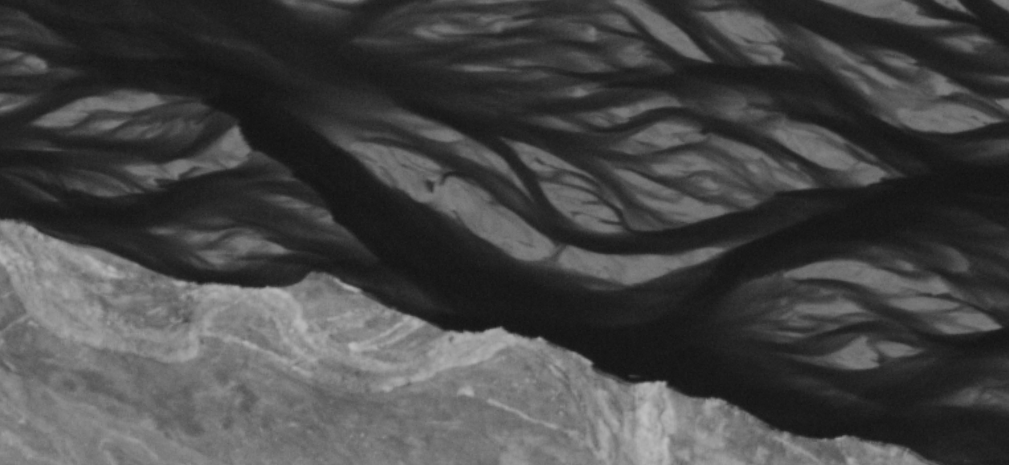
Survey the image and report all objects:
river: (498, 212)

